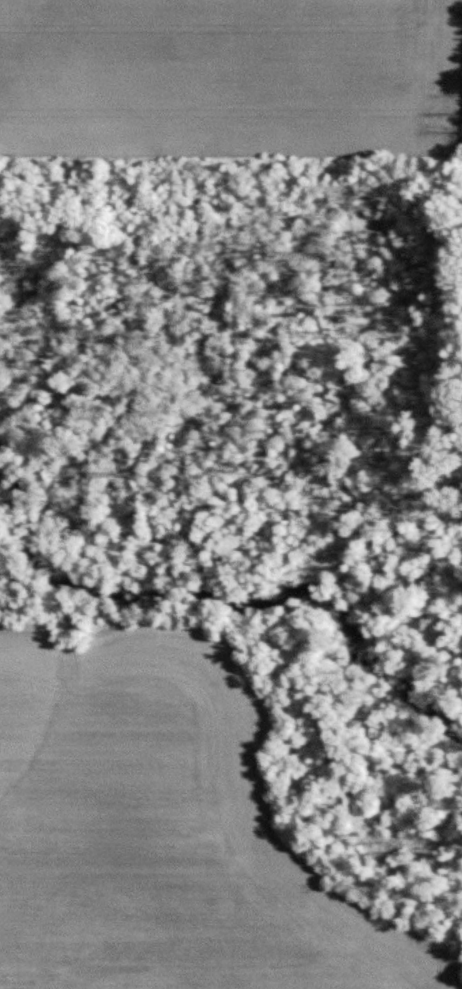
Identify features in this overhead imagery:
river: (233, 598)

